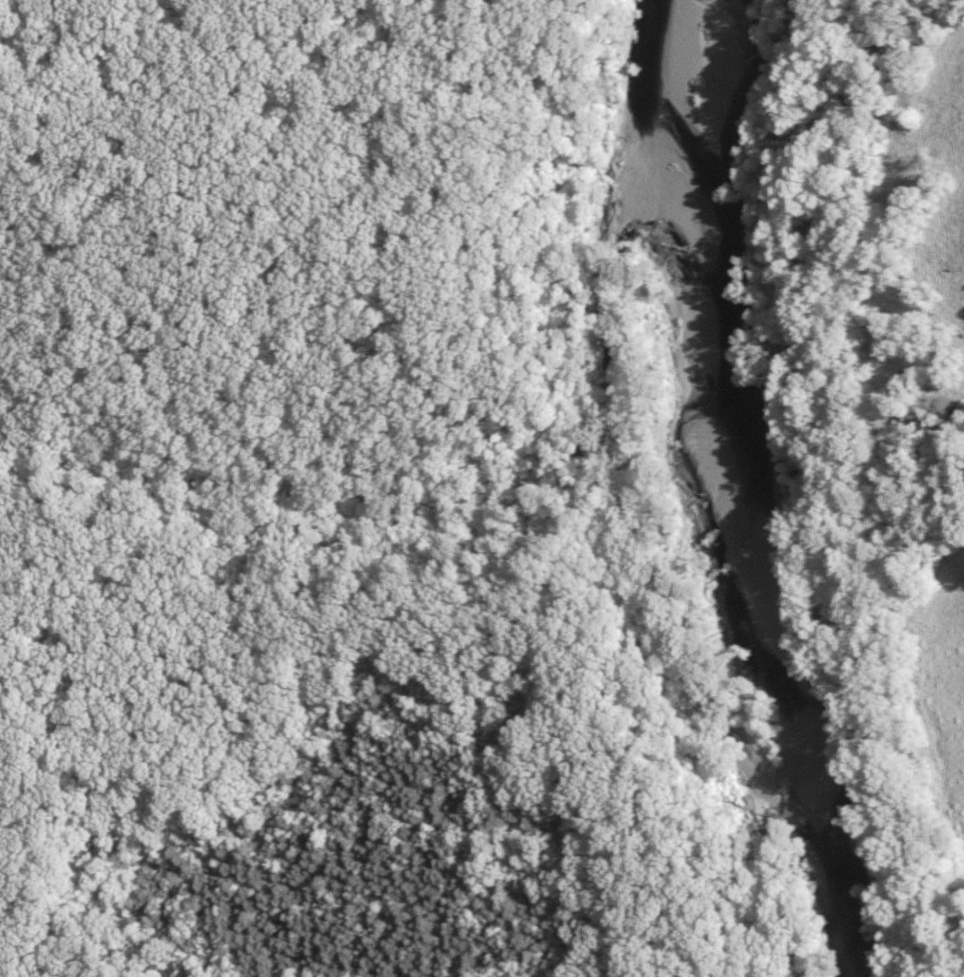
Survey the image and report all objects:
river: (730, 497)

